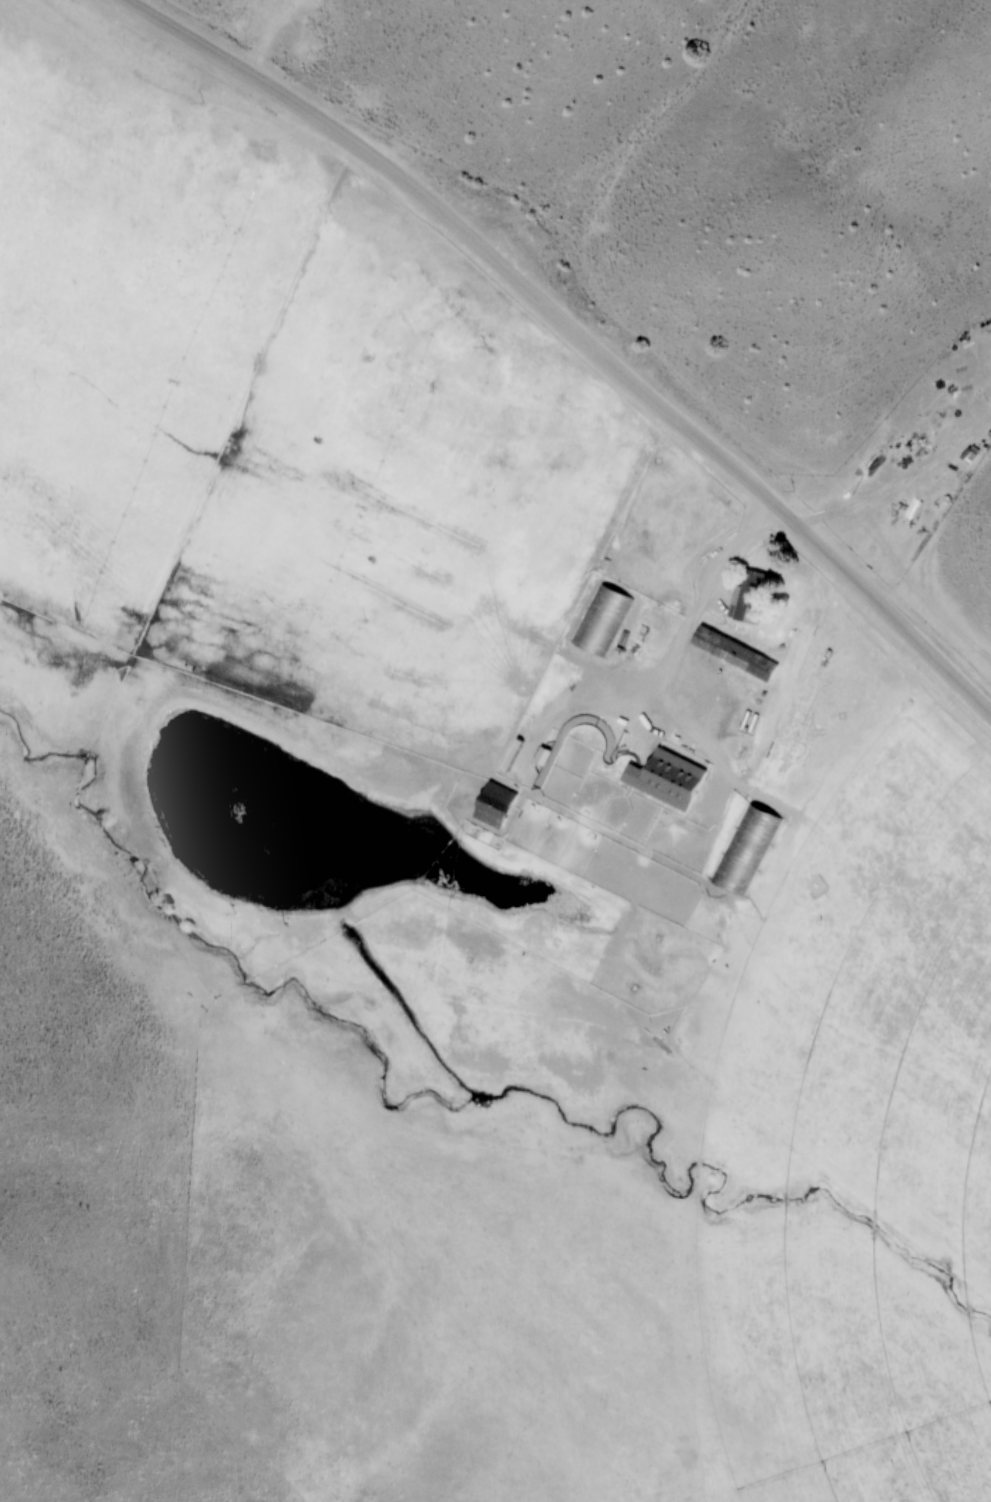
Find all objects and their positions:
road: (576, 334)
road: (738, 547)
building: (747, 597)
building: (603, 622)
building: (735, 655)
building: (670, 778)
building: (507, 807)
building: (747, 852)

